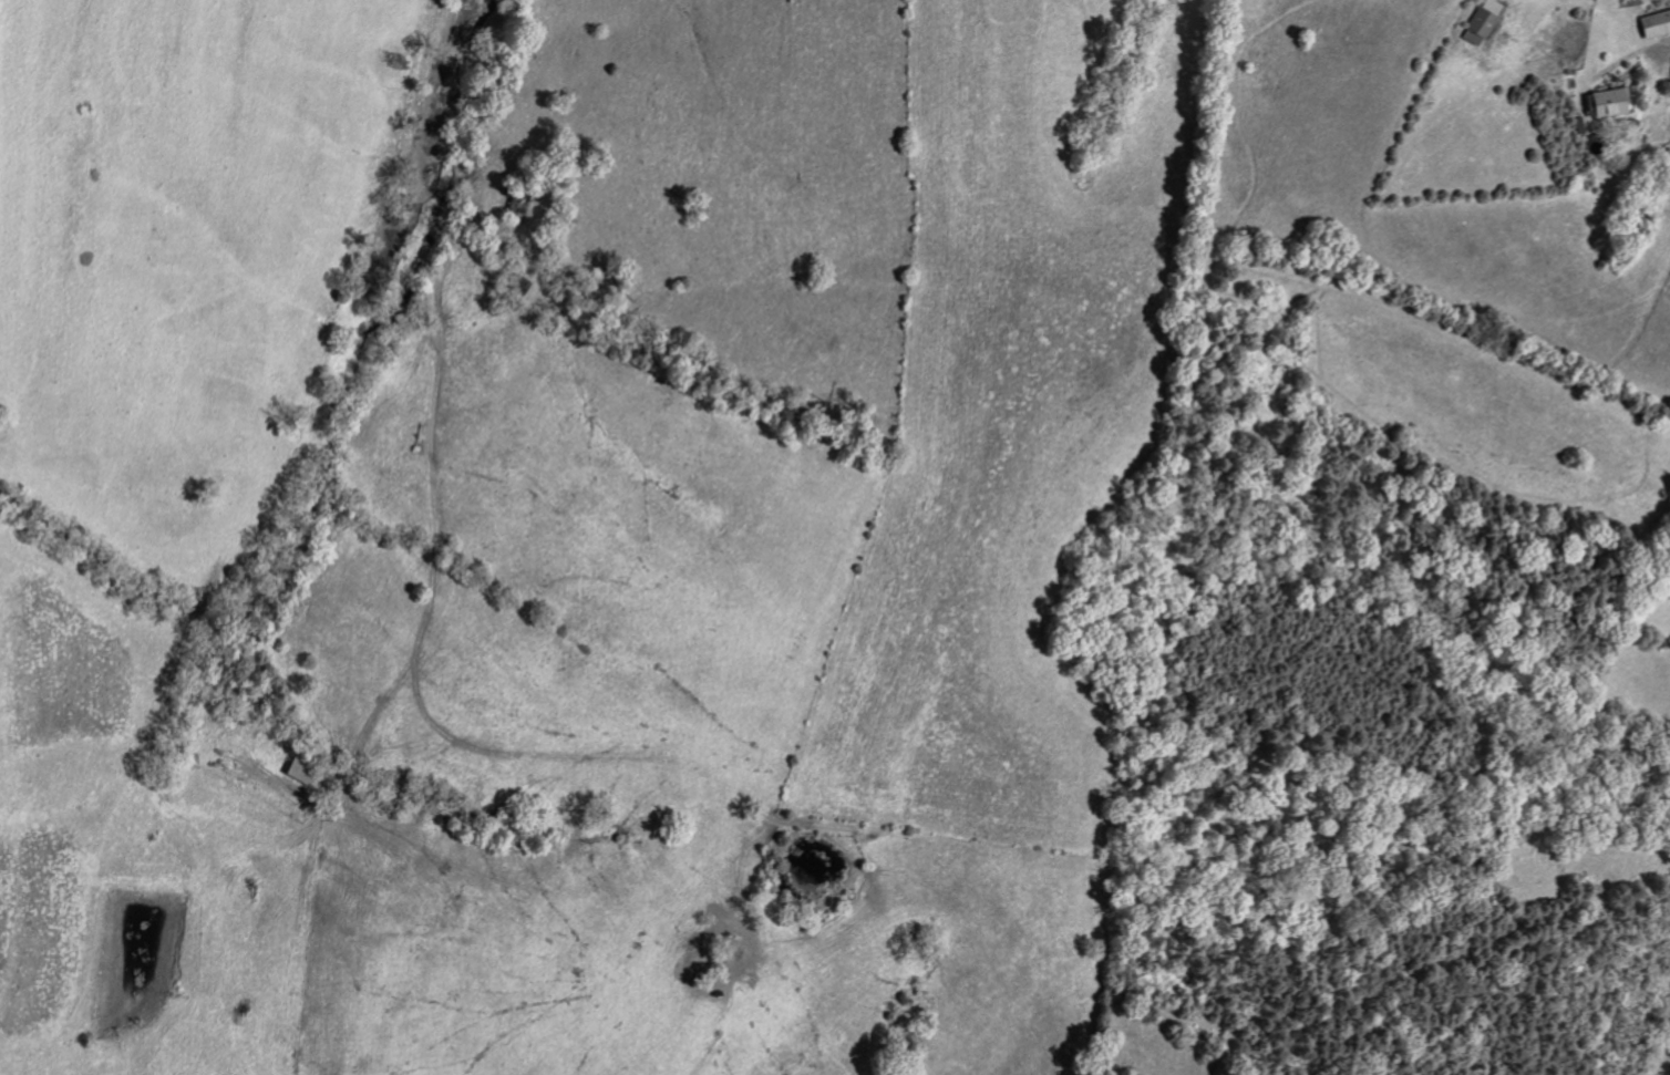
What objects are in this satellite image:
building: (1481, 21)
road: (447, 22)
building: (1653, 24)
road: (1666, 46)
building: (1601, 102)

